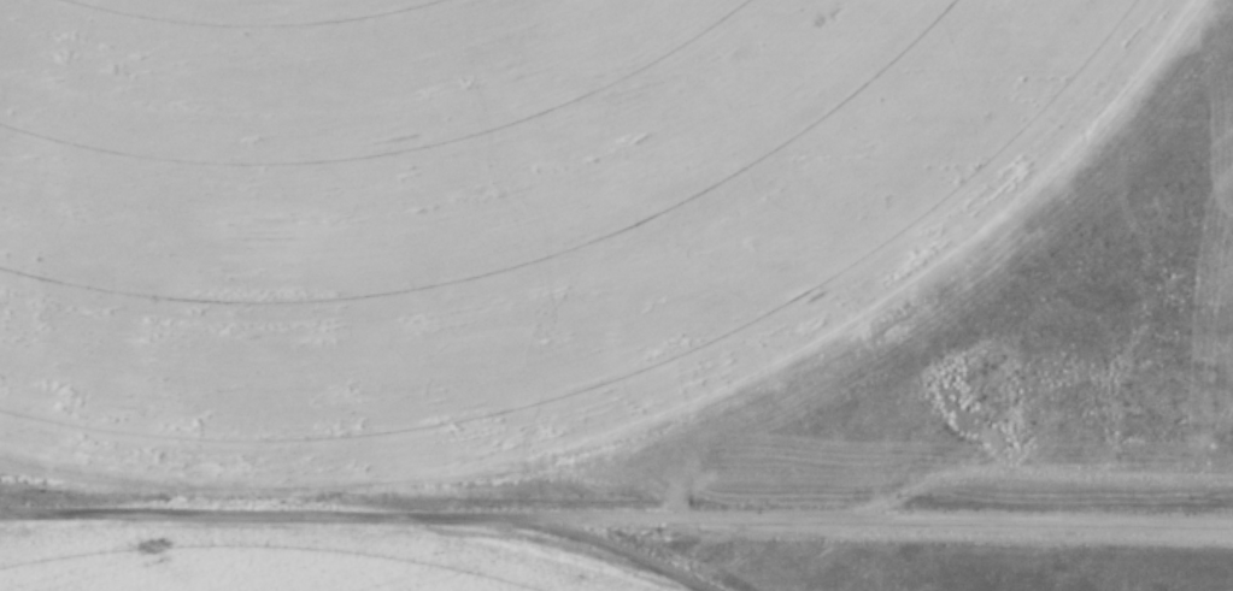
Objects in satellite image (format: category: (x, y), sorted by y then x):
crop: (505, 213)

